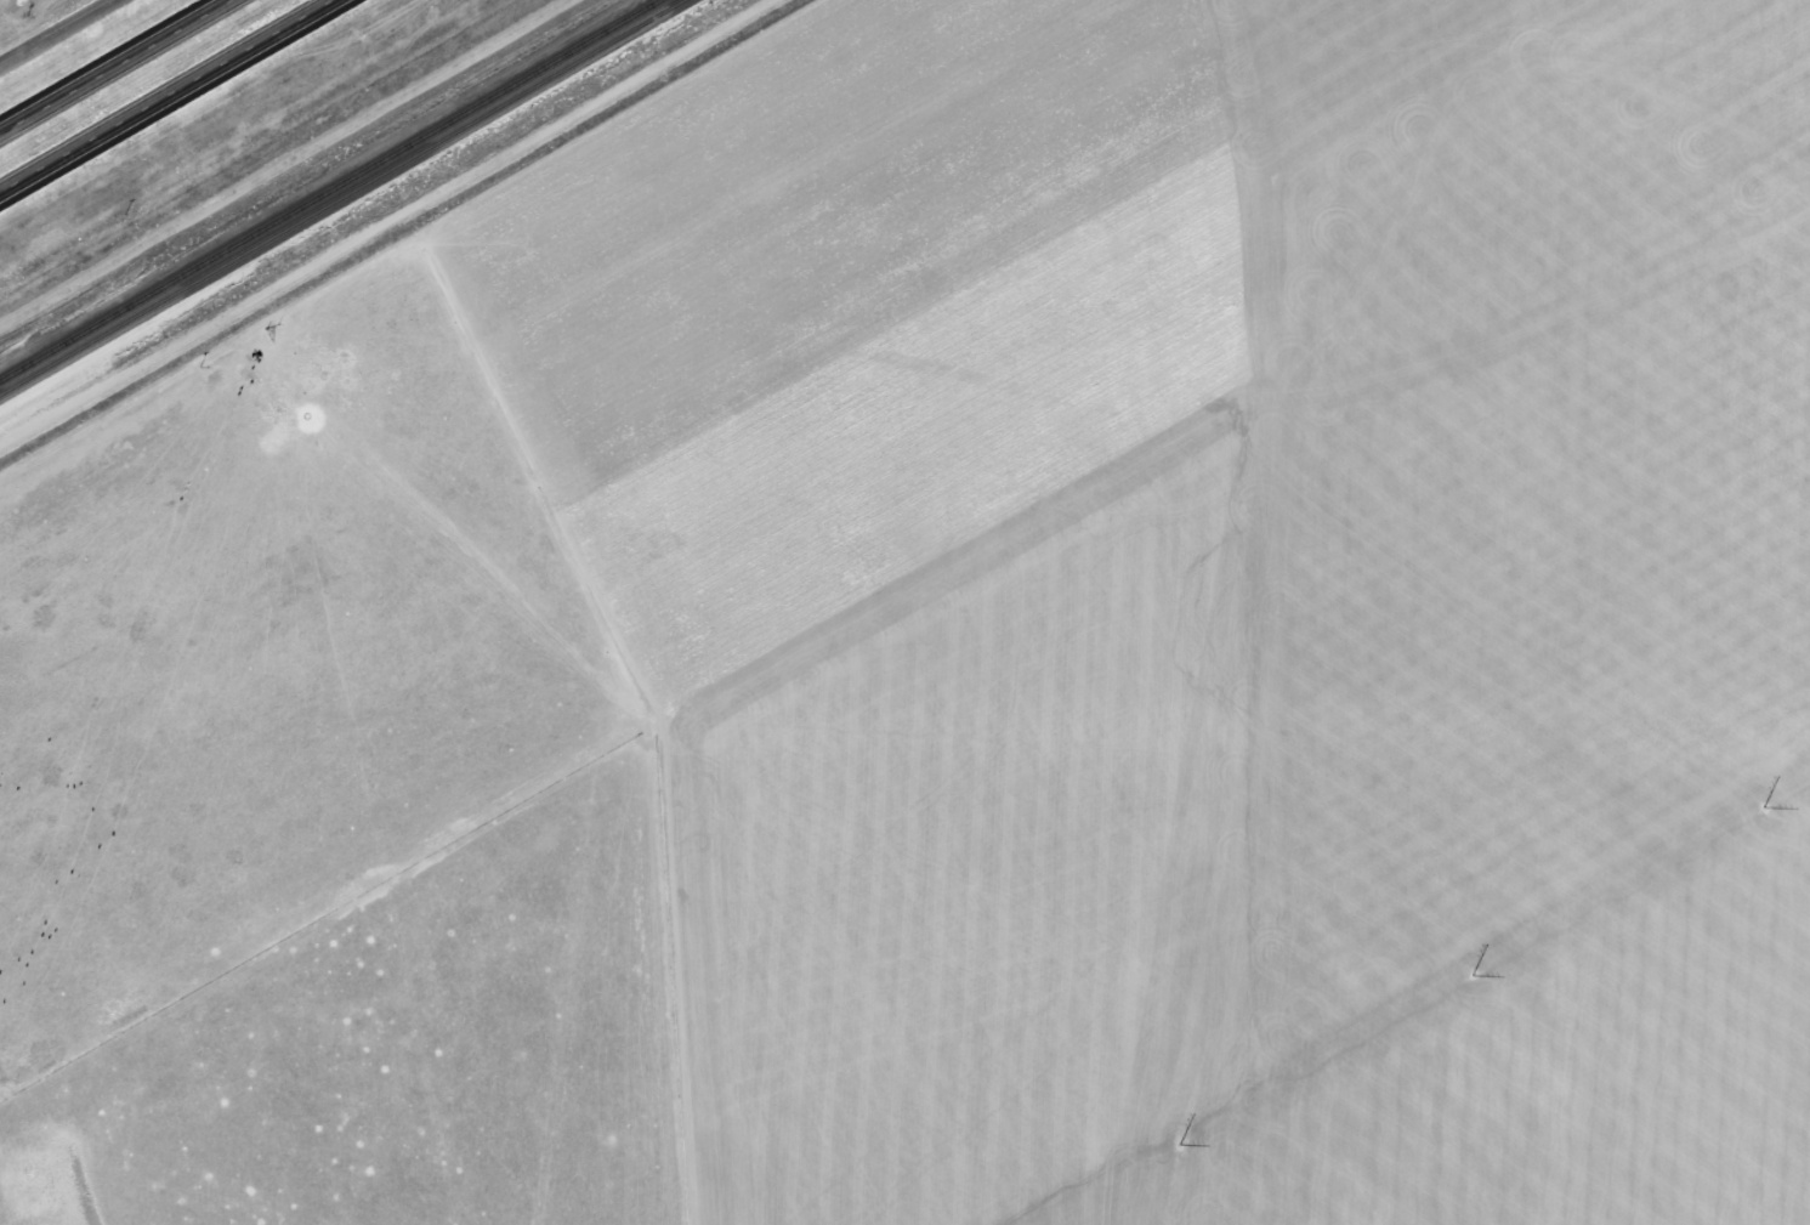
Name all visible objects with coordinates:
road: (57, 33)
road: (115, 66)
road: (169, 97)
railway: (330, 191)
railway: (346, 195)
power tower: (1522, 946)
power tower: (1195, 1133)

